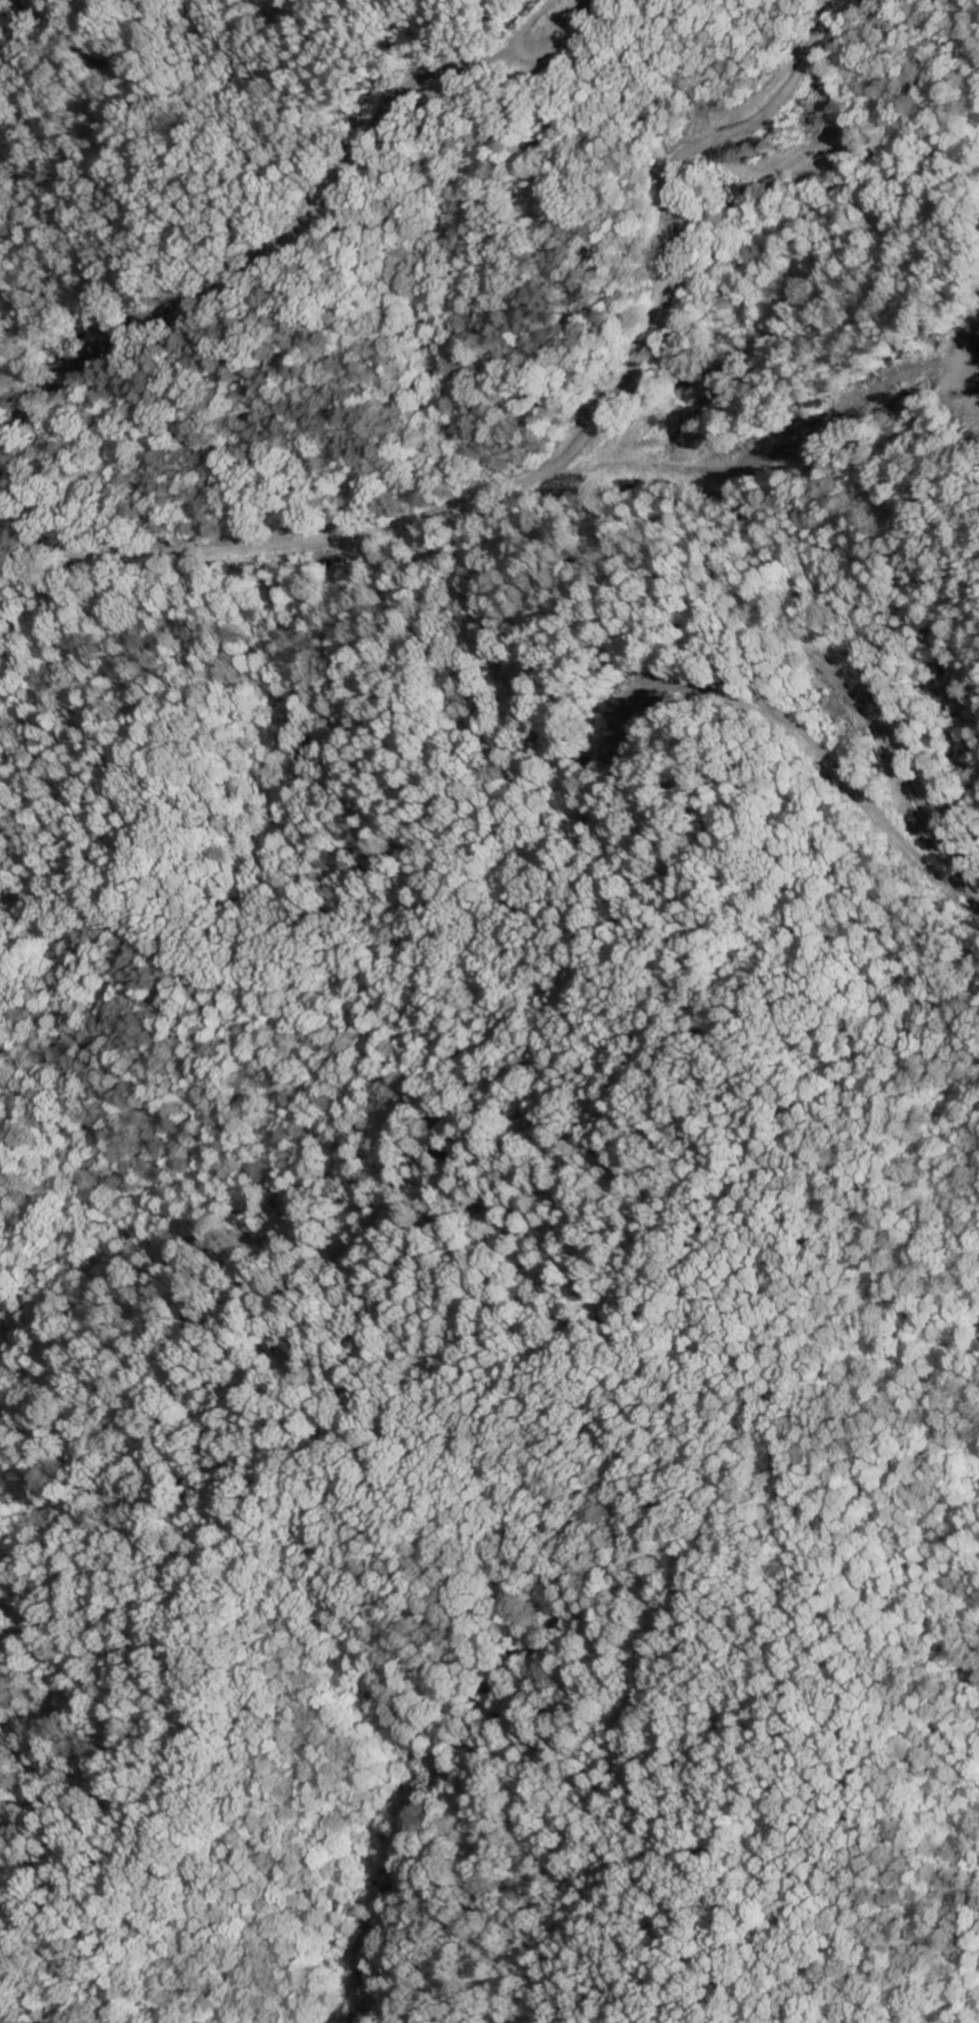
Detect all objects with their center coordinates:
road: (129, 552)

